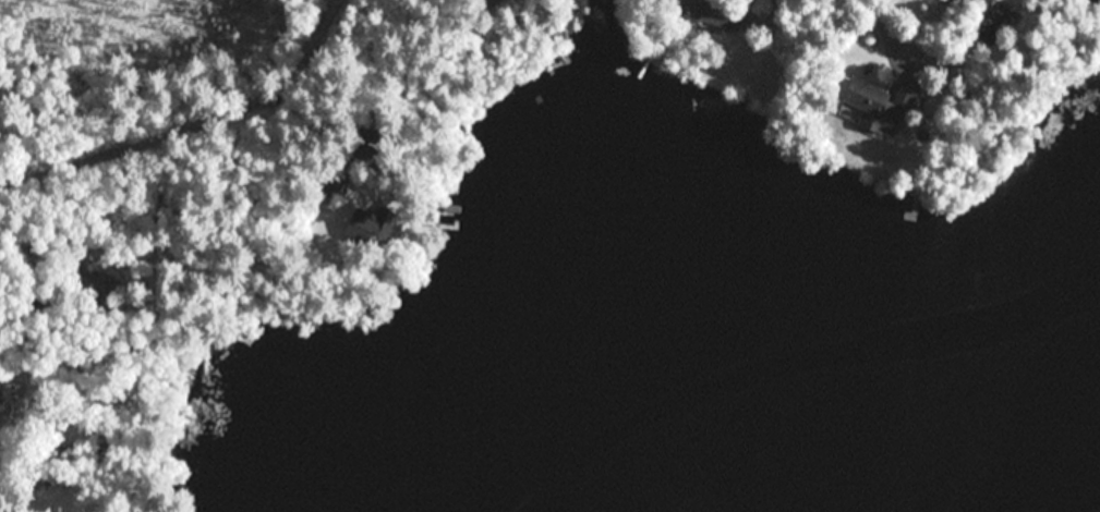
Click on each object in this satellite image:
building: (484, 1)
building: (711, 11)
building: (996, 21)
road: (895, 48)
building: (968, 78)
building: (882, 106)
road: (195, 125)
building: (329, 183)
building: (374, 223)
building: (33, 263)
building: (94, 281)
building: (1, 398)
river: (1005, 431)

